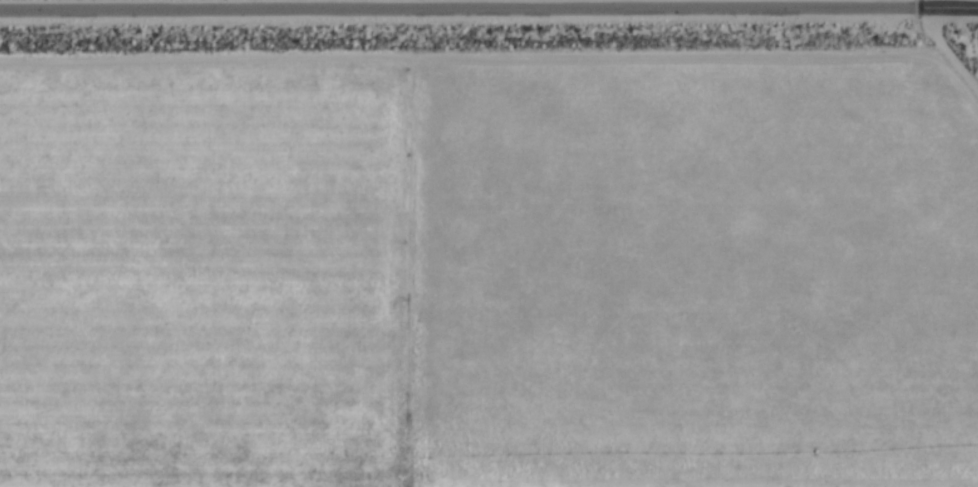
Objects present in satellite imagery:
road: (489, 9)

